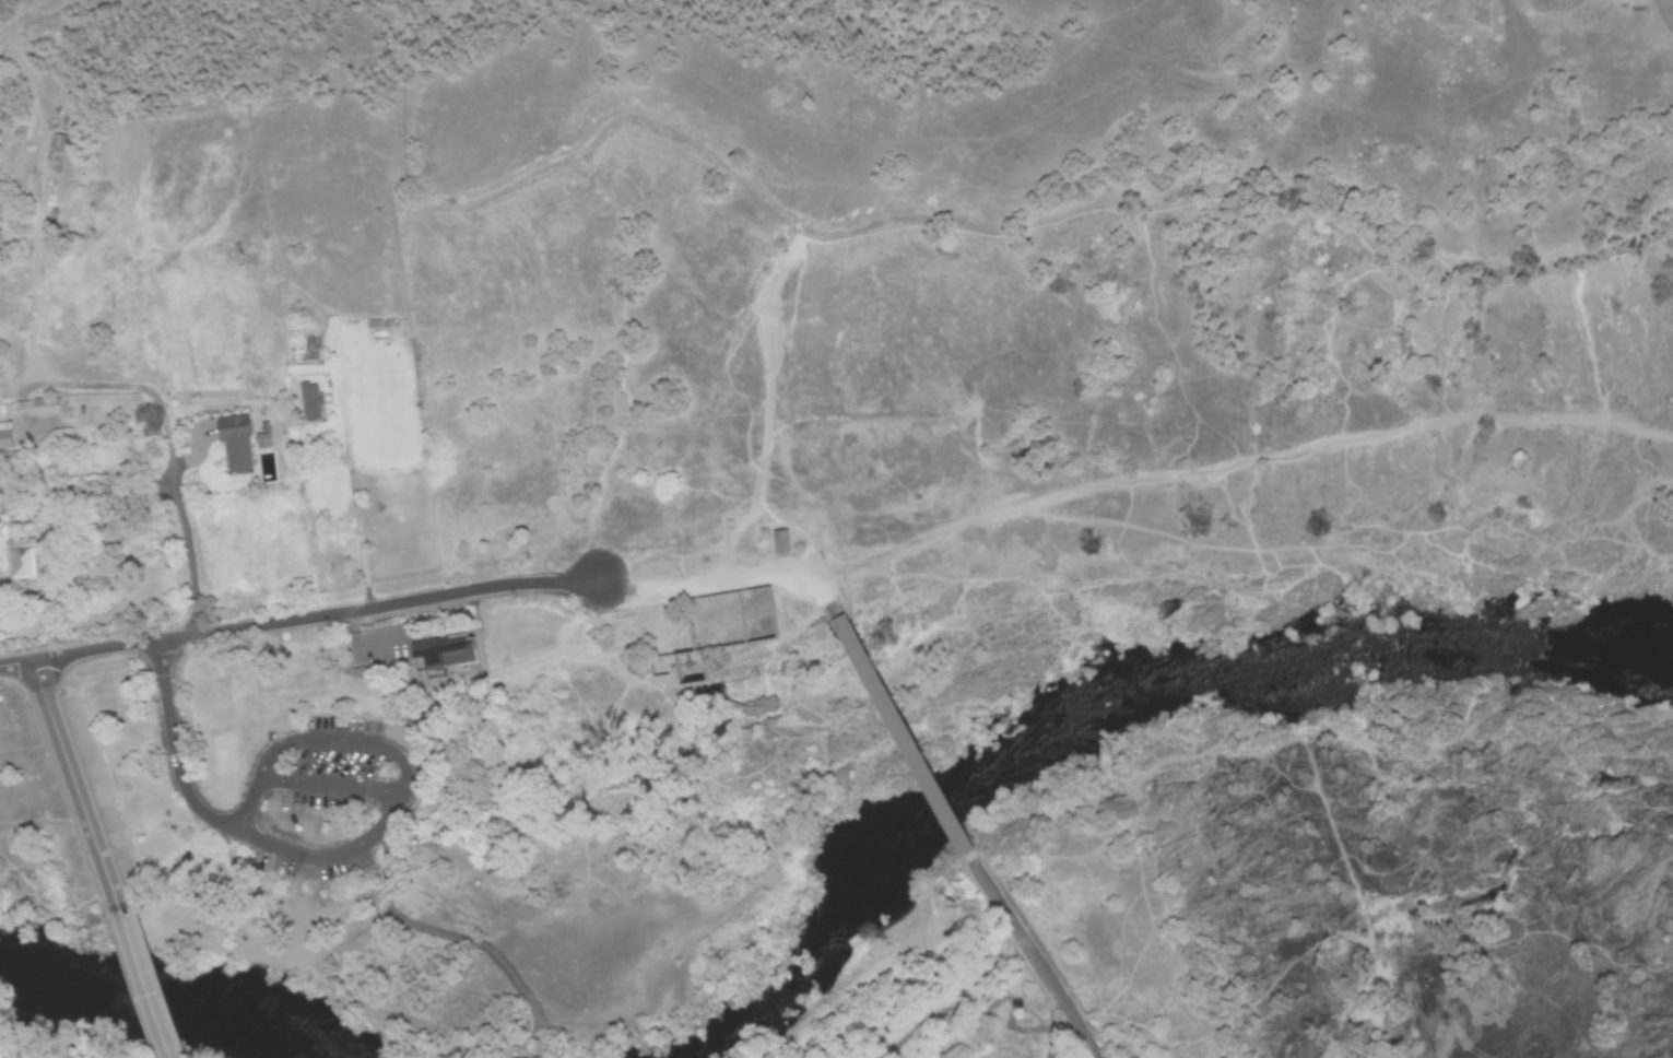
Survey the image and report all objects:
building: (57, 144)
building: (311, 402)
building: (47, 408)
building: (5, 437)
building: (236, 445)
building: (56, 466)
building: (779, 545)
road: (189, 557)
building: (22, 561)
road: (726, 579)
road: (317, 620)
building: (848, 645)
building: (443, 653)
road: (17, 669)
building: (686, 670)
river: (1136, 718)
road: (896, 737)
road: (174, 745)
road: (404, 769)
road: (73, 780)
road: (330, 787)
parking lot: (323, 799)
park: (774, 826)
road: (450, 938)
road: (1030, 955)
road: (140, 976)
river: (142, 1000)

